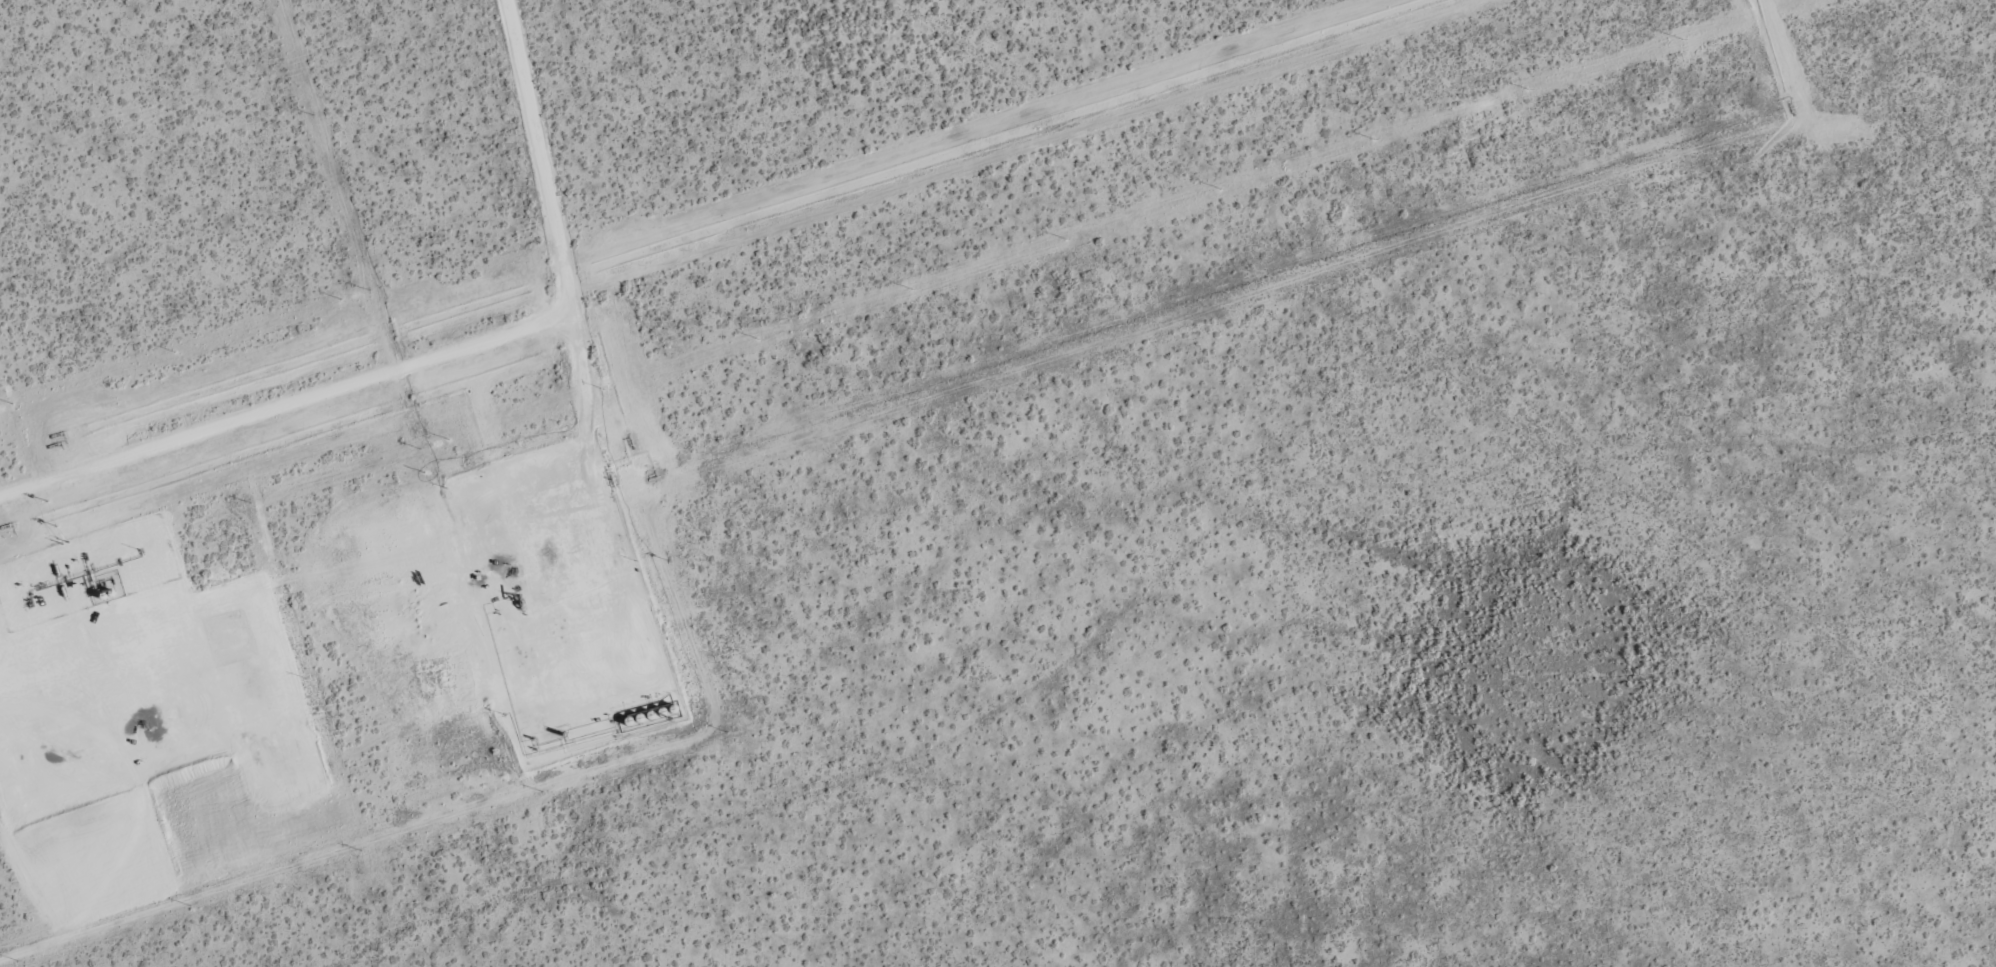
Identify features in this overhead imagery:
road: (1808, 125)
road: (556, 242)
road: (1142, 642)

